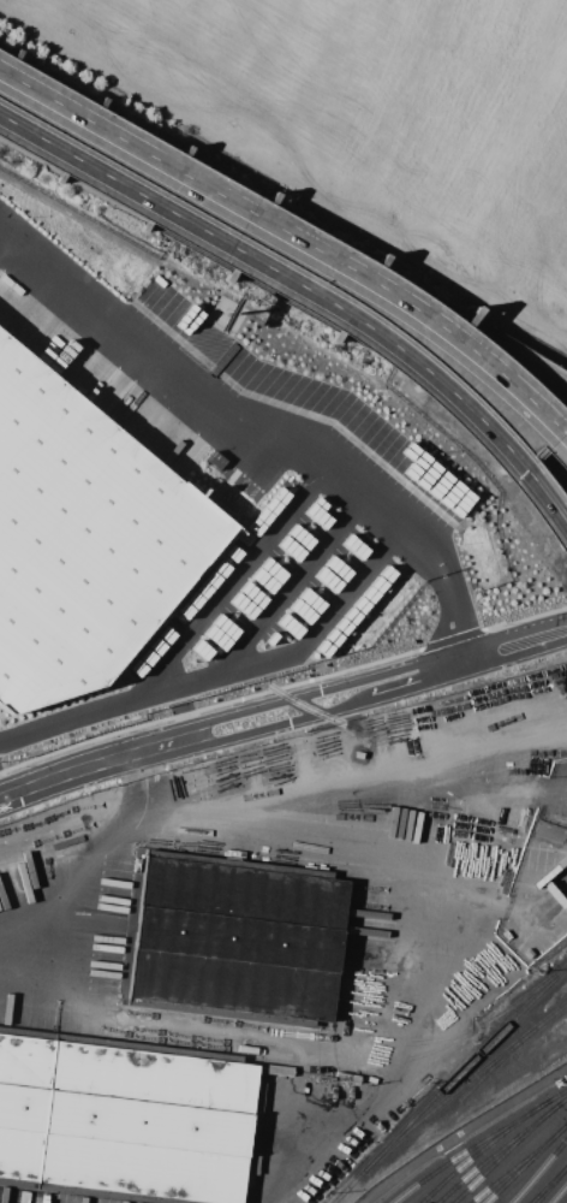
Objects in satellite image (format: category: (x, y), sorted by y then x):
road: (10, 77)
road: (4, 118)
road: (138, 147)
road: (129, 184)
road: (124, 209)
road: (305, 245)
road: (372, 279)
road: (312, 294)
road: (412, 350)
road: (517, 361)
road: (407, 368)
road: (258, 429)
building: (400, 457)
building: (79, 539)
road: (287, 589)
road: (220, 597)
road: (308, 640)
road: (517, 644)
road: (324, 687)
railway: (310, 709)
road: (333, 711)
road: (89, 716)
road: (95, 768)
road: (239, 854)
road: (38, 903)
building: (233, 941)
railway: (526, 1000)
road: (264, 1038)
road: (406, 1060)
railway: (491, 1073)
railway: (452, 1086)
railway: (466, 1088)
building: (127, 1119)
railway: (477, 1143)
railway: (481, 1148)
railway: (500, 1148)
railway: (503, 1152)
railway: (515, 1162)
railway: (524, 1162)
road: (401, 1168)
railway: (537, 1168)
road: (465, 1171)
railway: (545, 1181)
railway: (549, 1183)
railway: (557, 1192)

